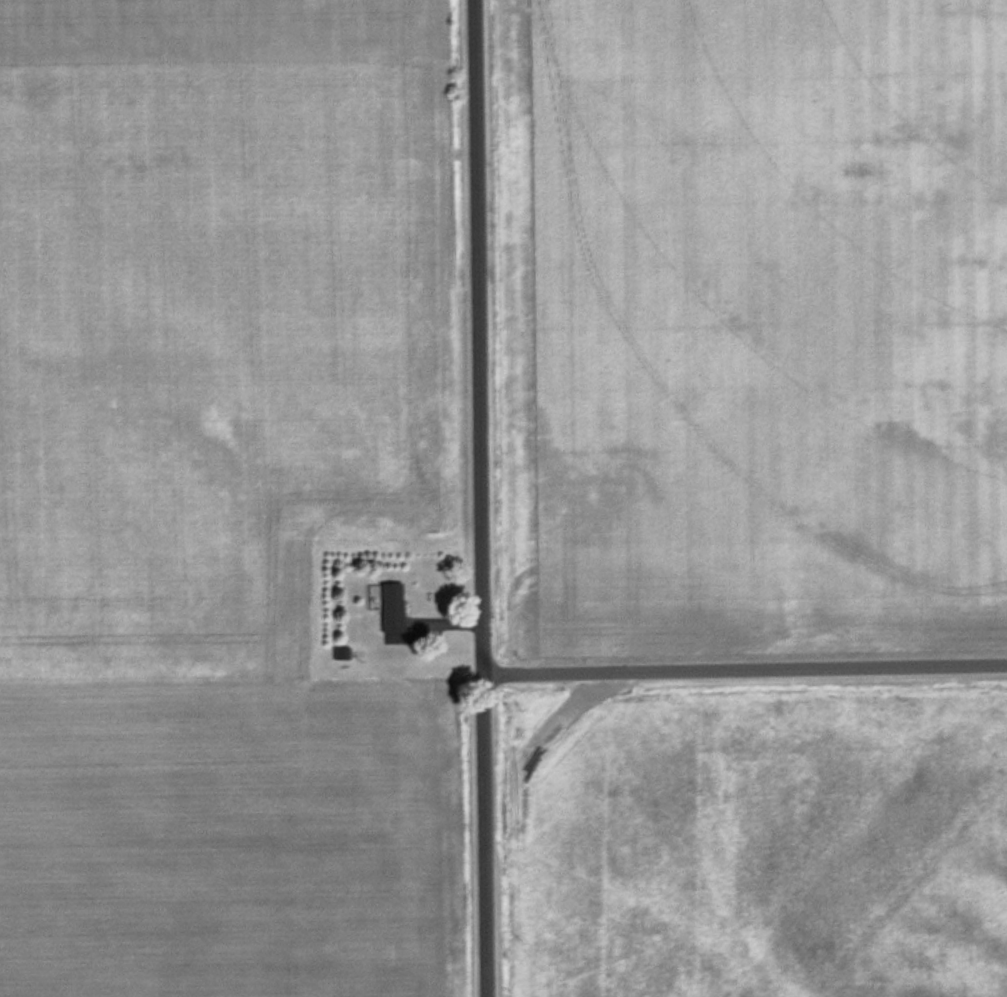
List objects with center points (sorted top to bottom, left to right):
road: (483, 498)
building: (389, 603)
building: (341, 651)
road: (746, 674)

